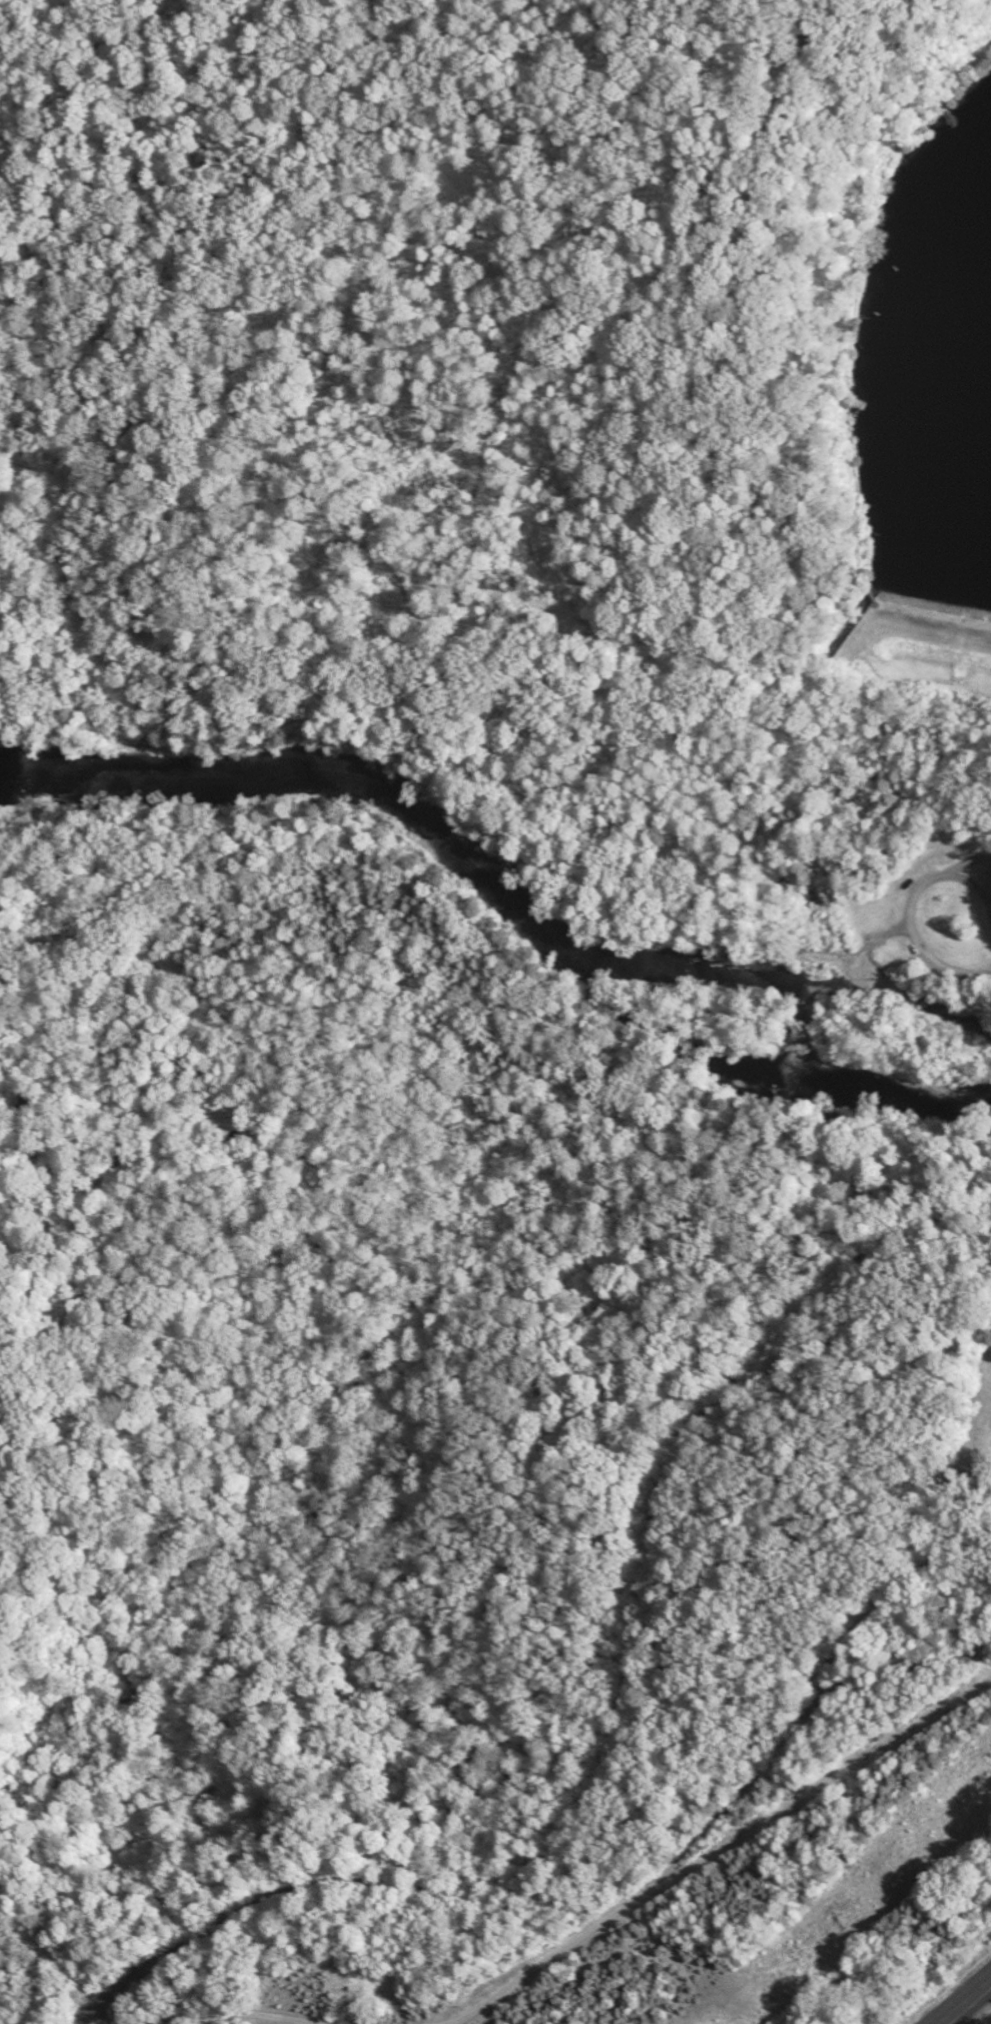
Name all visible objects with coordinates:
river: (523, 898)
park: (970, 1421)
road: (645, 1745)
road: (967, 2003)

